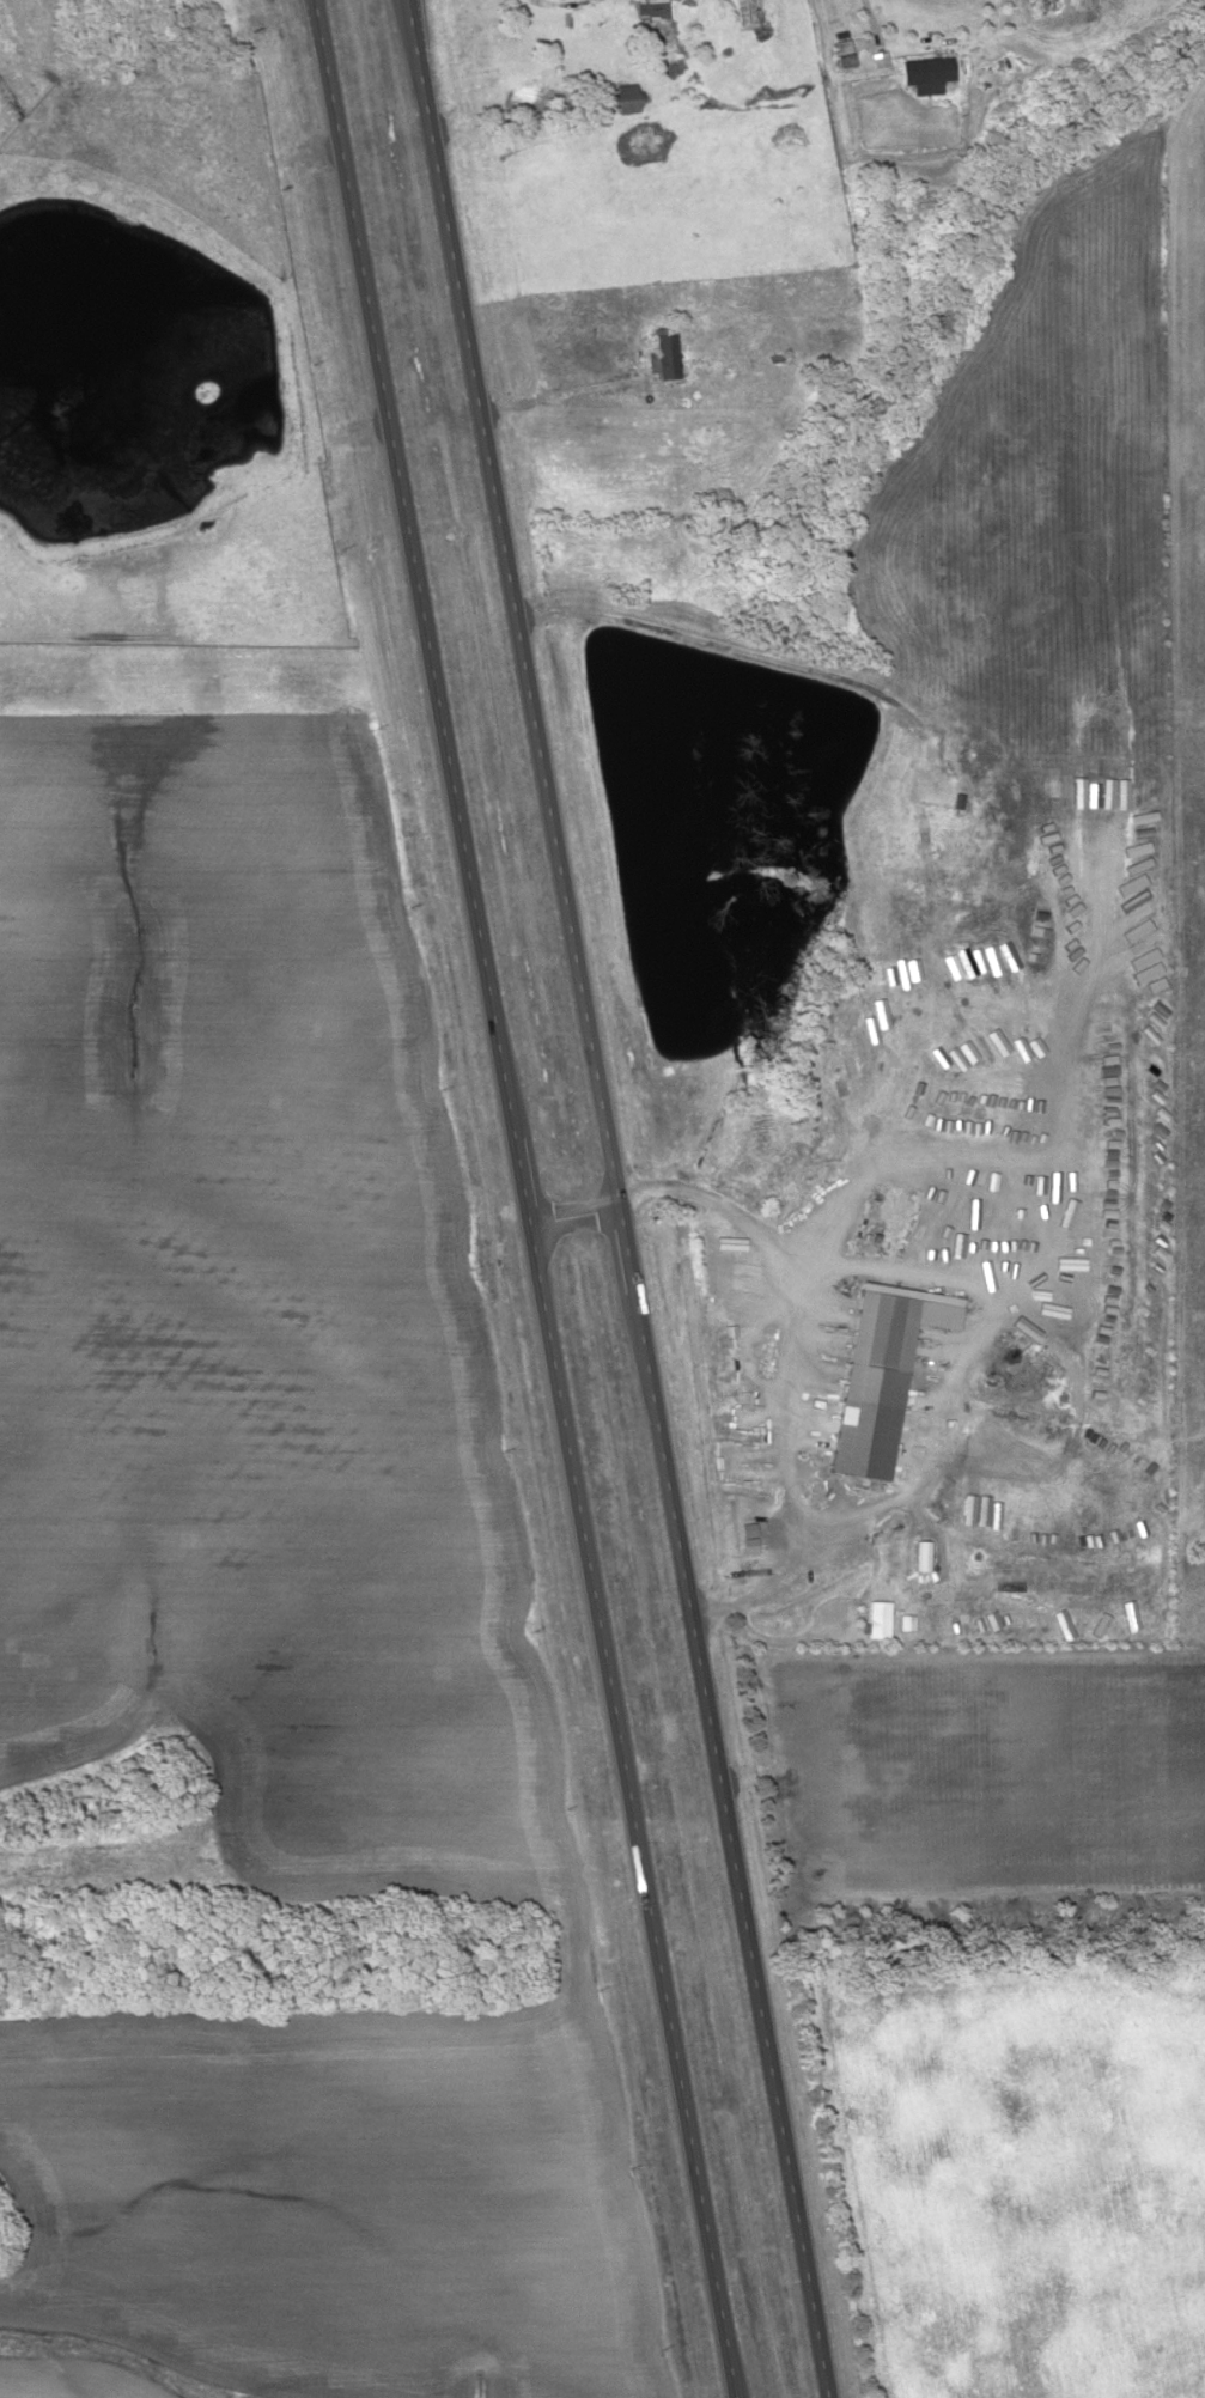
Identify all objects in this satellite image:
building: (711, 25)
building: (926, 73)
building: (627, 97)
building: (663, 357)
road: (413, 571)
road: (512, 603)
building: (930, 787)
road: (521, 1183)
road: (573, 1215)
road: (627, 1248)
building: (868, 1396)
building: (876, 1618)
road: (631, 1810)
road: (731, 1844)

